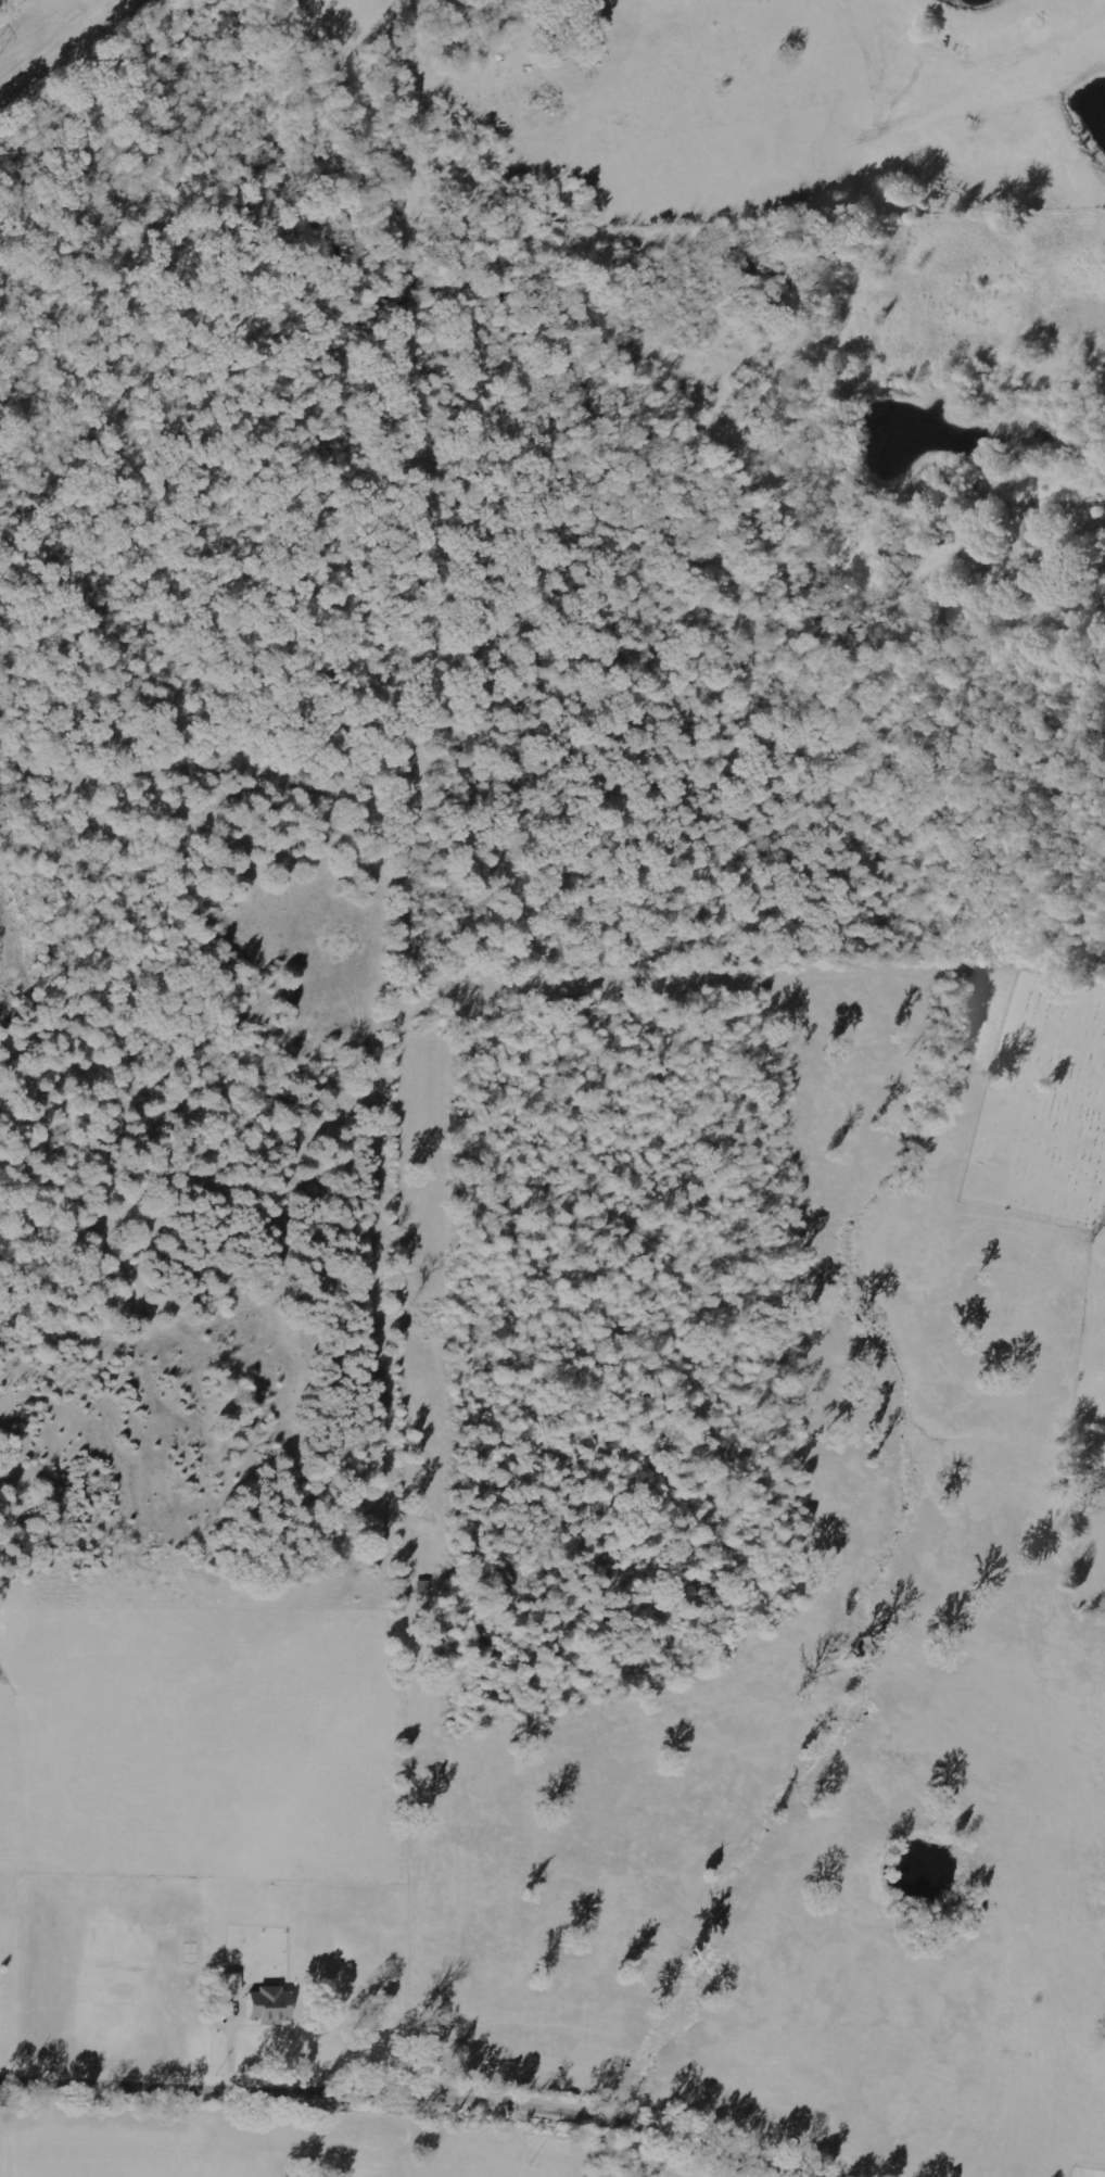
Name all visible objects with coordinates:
building: (1030, 528)
building: (232, 1986)
building: (269, 2005)
road: (403, 2097)

